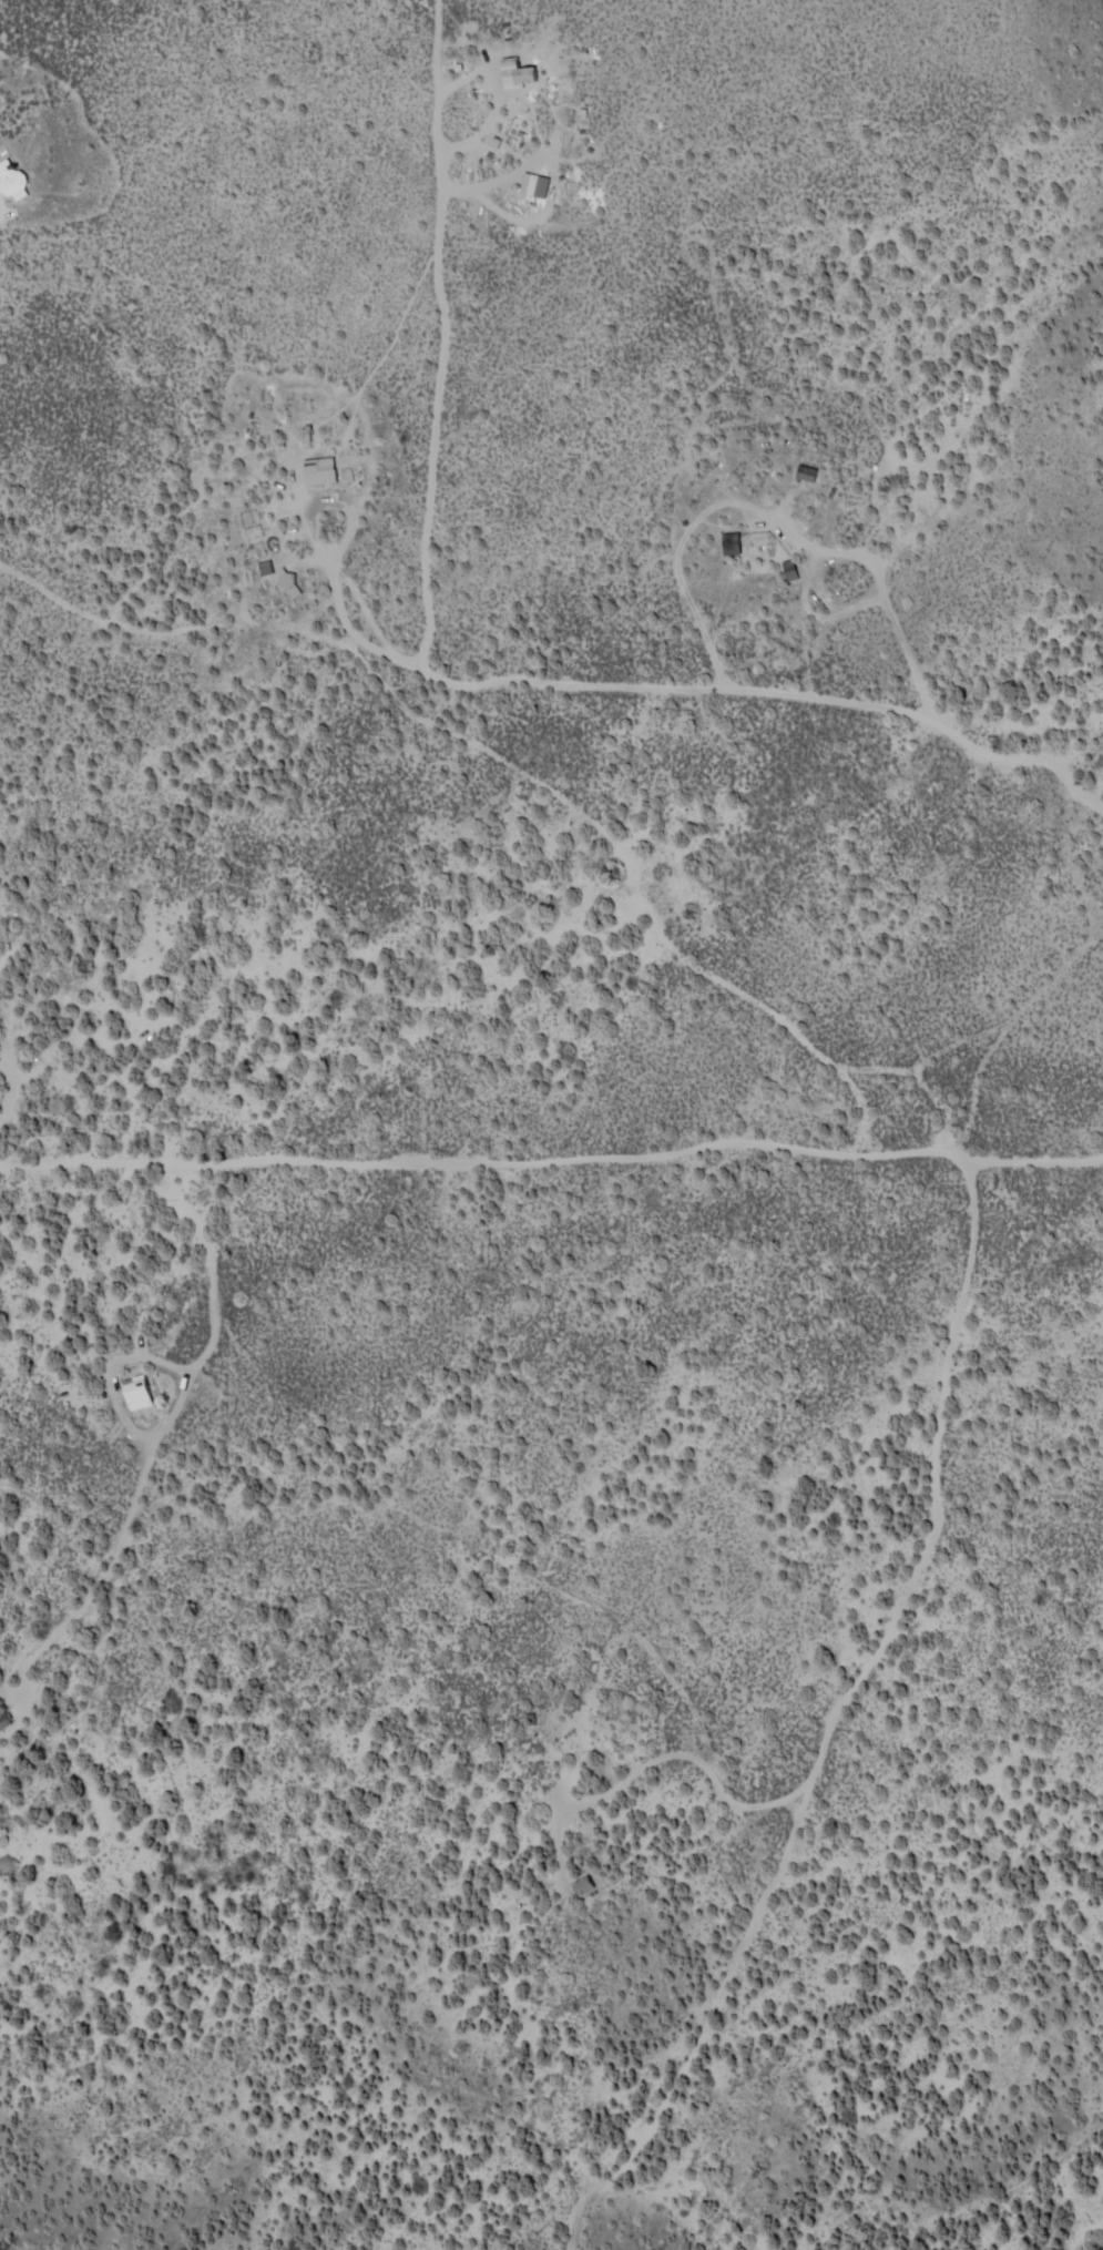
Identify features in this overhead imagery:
building: (514, 72)
building: (10, 179)
building: (532, 183)
building: (317, 469)
building: (804, 472)
building: (788, 568)
road: (30, 1104)
road: (90, 1158)
road: (953, 1163)
road: (261, 1353)
building: (135, 1392)
building: (4, 1719)

